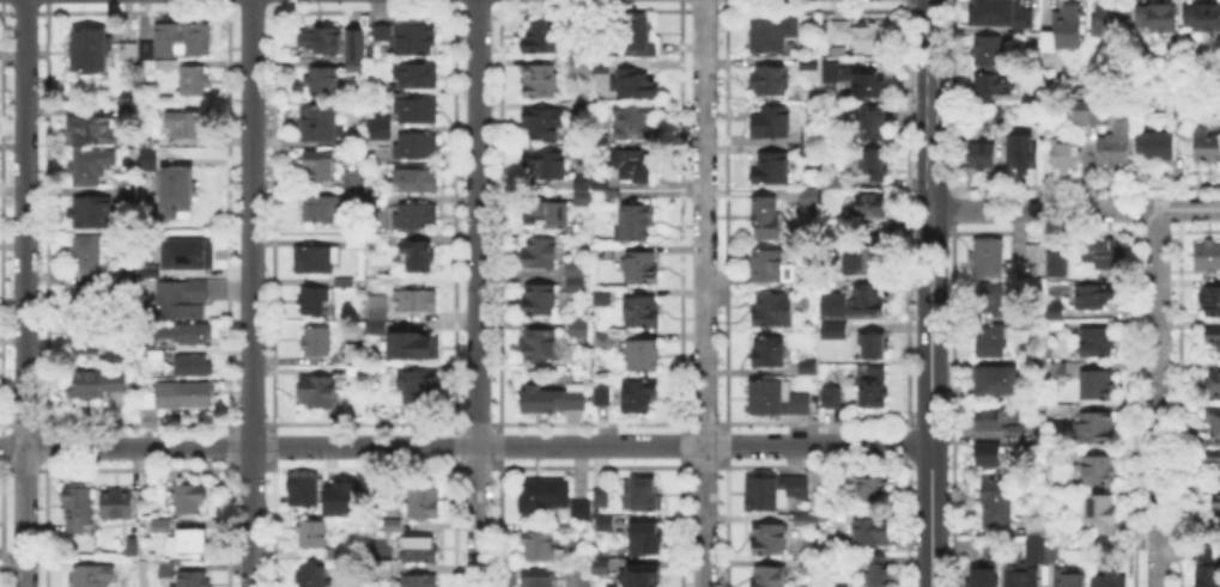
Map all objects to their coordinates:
building: (997, 13)
building: (1158, 18)
building: (1203, 18)
building: (1112, 22)
building: (1066, 29)
building: (633, 35)
building: (773, 35)
building: (860, 36)
building: (545, 37)
building: (183, 38)
building: (408, 39)
building: (322, 42)
building: (357, 45)
building: (92, 49)
building: (147, 49)
building: (129, 51)
building: (988, 51)
building: (166, 66)
building: (581, 67)
building: (601, 67)
building: (417, 77)
building: (194, 80)
building: (770, 80)
building: (856, 80)
building: (541, 82)
building: (326, 84)
building: (631, 84)
building: (991, 87)
road: (930, 105)
building: (585, 106)
building: (1176, 109)
building: (418, 111)
building: (999, 114)
building: (1081, 116)
building: (637, 122)
building: (771, 123)
building: (318, 124)
building: (544, 124)
building: (875, 124)
building: (186, 127)
building: (375, 128)
building: (92, 132)
building: (807, 134)
building: (602, 140)
building: (1116, 142)
building: (1204, 143)
building: (417, 147)
building: (1155, 147)
building: (1066, 155)
building: (983, 157)
building: (1022, 157)
building: (150, 160)
building: (321, 165)
building: (545, 165)
building: (635, 166)
building: (875, 166)
building: (86, 170)
building: (771, 170)
building: (582, 179)
building: (414, 182)
building: (838, 182)
building: (356, 183)
building: (177, 191)
building: (809, 200)
building: (582, 201)
building: (872, 206)
road: (1074, 208)
building: (327, 210)
building: (93, 213)
building: (547, 215)
building: (417, 218)
building: (767, 219)
building: (635, 221)
building: (356, 241)
building: (1100, 251)
building: (184, 252)
road: (919, 252)
road: (940, 252)
building: (1034, 253)
building: (87, 255)
building: (540, 255)
building: (606, 255)
building: (419, 257)
building: (874, 257)
building: (988, 257)
building: (1208, 257)
building: (1054, 259)
building: (316, 261)
building: (575, 268)
building: (642, 268)
building: (770, 268)
building: (129, 270)
building: (150, 271)
building: (344, 281)
building: (576, 287)
road: (24, 293)
road: (251, 293)
road: (478, 293)
road: (704, 293)
building: (1094, 295)
building: (603, 299)
building: (991, 299)
building: (182, 300)
building: (89, 301)
building: (314, 301)
building: (417, 301)
building: (540, 301)
building: (868, 301)
building: (1210, 301)
building: (837, 306)
building: (380, 308)
building: (773, 311)
building: (1055, 311)
building: (642, 313)
building: (375, 326)
building: (579, 331)
building: (837, 331)
building: (195, 334)
building: (1212, 335)
building: (85, 341)
building: (605, 341)
building: (991, 342)
building: (1098, 342)
building: (318, 343)
building: (540, 346)
building: (869, 346)
building: (413, 348)
building: (356, 353)
building: (769, 353)
building: (116, 355)
building: (642, 356)
building: (193, 366)
building: (808, 367)
building: (1060, 372)
building: (356, 373)
building: (997, 381)
building: (1213, 383)
building: (96, 384)
building: (419, 384)
building: (1097, 386)
building: (873, 387)
building: (320, 392)
building: (186, 395)
building: (639, 397)
building: (832, 397)
road: (1157, 397)
building: (603, 398)
building: (150, 399)
building: (553, 399)
building: (776, 400)
building: (1054, 411)
building: (988, 418)
building: (1214, 421)
building: (1095, 429)
building: (1015, 436)
road: (930, 440)
road: (466, 446)
building: (988, 453)
building: (1057, 457)
building: (1214, 457)
building: (1098, 471)
building: (799, 487)
building: (301, 489)
building: (872, 489)
building: (764, 495)
building: (336, 496)
building: (643, 496)
building: (544, 497)
building: (601, 497)
building: (193, 501)
building: (995, 501)
building: (424, 503)
building: (1215, 503)
building: (119, 505)
building: (78, 508)
building: (581, 510)
building: (1103, 513)
building: (1033, 521)
building: (605, 522)
building: (160, 524)
building: (392, 525)
building: (312, 533)
building: (872, 534)
building: (648, 539)
building: (772, 539)
building: (193, 543)
building: (1097, 544)
building: (133, 546)
building: (539, 546)
building: (419, 551)
building: (994, 551)
building: (1038, 551)
building: (807, 564)
building: (601, 567)
building: (1208, 568)
building: (166, 570)
building: (879, 573)
building: (93, 575)
building: (1024, 575)
building: (312, 576)
building: (644, 577)
building: (769, 577)
building: (984, 577)
building: (541, 579)
building: (1068, 579)
building: (1110, 579)
building: (193, 580)
building: (420, 580)
building: (840, 585)
building: (120, 586)

